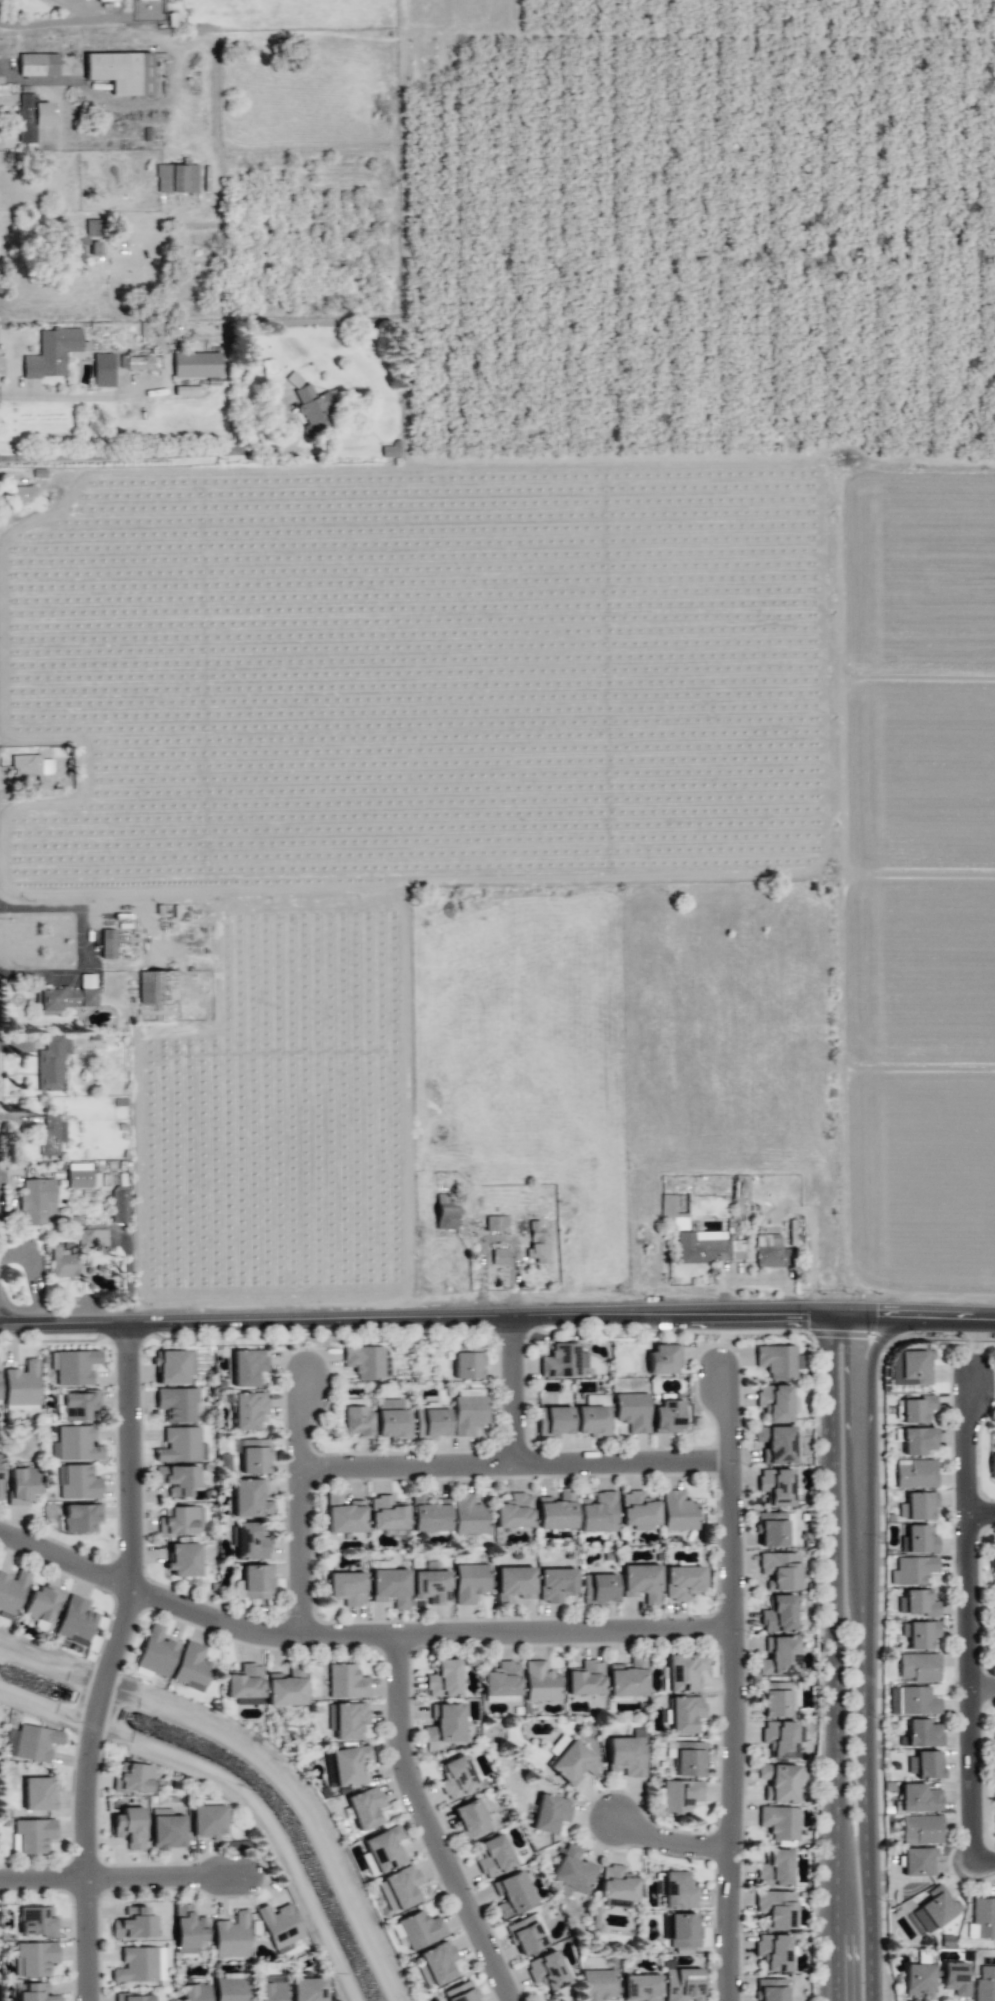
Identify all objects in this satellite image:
building: (105, 0)
road: (58, 22)
building: (37, 64)
building: (121, 71)
building: (30, 117)
building: (176, 178)
building: (81, 240)
building: (52, 352)
building: (139, 362)
building: (195, 365)
building: (102, 370)
building: (314, 408)
road: (295, 425)
building: (390, 450)
road: (118, 457)
building: (23, 493)
crop: (555, 580)
building: (33, 769)
road: (80, 942)
building: (107, 943)
building: (157, 987)
building: (65, 996)
building: (52, 1063)
building: (51, 1135)
building: (79, 1175)
building: (37, 1202)
building: (119, 1204)
building: (445, 1212)
building: (671, 1215)
building: (496, 1224)
building: (92, 1237)
building: (537, 1243)
building: (702, 1247)
building: (770, 1252)
building: (498, 1256)
building: (64, 1261)
road: (497, 1312)
road: (877, 1345)
building: (663, 1359)
building: (562, 1361)
building: (778, 1361)
building: (363, 1362)
building: (466, 1365)
building: (75, 1366)
building: (173, 1366)
building: (247, 1367)
building: (386, 1367)
building: (910, 1368)
building: (21, 1384)
road: (520, 1386)
building: (469, 1392)
building: (775, 1402)
building: (178, 1404)
building: (79, 1406)
building: (917, 1409)
building: (248, 1410)
building: (631, 1411)
road: (736, 1411)
building: (468, 1414)
building: (593, 1416)
road: (305, 1417)
building: (666, 1417)
building: (391, 1419)
building: (553, 1421)
building: (357, 1422)
building: (430, 1422)
road: (973, 1438)
building: (917, 1441)
building: (75, 1444)
building: (775, 1444)
building: (180, 1445)
building: (253, 1456)
road: (521, 1462)
building: (992, 1466)
building: (915, 1473)
building: (176, 1479)
building: (77, 1482)
building: (21, 1485)
building: (775, 1486)
building: (249, 1499)
building: (920, 1506)
building: (638, 1509)
building: (556, 1511)
building: (677, 1511)
building: (513, 1512)
building: (597, 1512)
road: (985, 1512)
building: (343, 1514)
building: (386, 1514)
building: (429, 1515)
building: (468, 1515)
building: (81, 1517)
building: (179, 1520)
building: (774, 1529)
building: (917, 1540)
building: (250, 1542)
road: (307, 1550)
building: (183, 1560)
building: (993, 1561)
building: (779, 1570)
building: (912, 1570)
building: (256, 1582)
building: (641, 1582)
building: (681, 1582)
building: (469, 1583)
building: (513, 1584)
building: (555, 1584)
building: (430, 1586)
building: (389, 1587)
building: (346, 1588)
building: (598, 1588)
building: (12, 1591)
building: (41, 1603)
building: (917, 1603)
building: (778, 1614)
building: (75, 1621)
road: (360, 1632)
building: (919, 1634)
building: (993, 1643)
building: (156, 1652)
building: (778, 1656)
road: (832, 1656)
road: (859, 1656)
road: (111, 1660)
building: (191, 1667)
building: (918, 1667)
building: (684, 1672)
building: (627, 1678)
building: (443, 1679)
building: (501, 1679)
building: (585, 1679)
building: (346, 1682)
building: (539, 1682)
building: (245, 1685)
road: (976, 1685)
building: (285, 1687)
road: (986, 1688)
building: (501, 1699)
building: (774, 1699)
building: (916, 1701)
building: (684, 1714)
building: (349, 1720)
building: (444, 1723)
road: (741, 1729)
building: (994, 1732)
building: (922, 1733)
building: (779, 1738)
building: (35, 1742)
building: (557, 1745)
building: (627, 1755)
building: (689, 1759)
building: (572, 1763)
building: (349, 1765)
building: (925, 1765)
building: (456, 1778)
building: (134, 1779)
building: (778, 1782)
building: (37, 1793)
building: (679, 1796)
building: (918, 1798)
building: (365, 1808)
building: (549, 1813)
building: (469, 1818)
building: (207, 1821)
building: (779, 1822)
road: (435, 1823)
building: (129, 1827)
building: (921, 1830)
building: (994, 1831)
building: (167, 1832)
building: (31, 1835)
road: (677, 1839)
building: (385, 1849)
building: (493, 1856)
building: (918, 1862)
road: (988, 1862)
building: (774, 1869)
building: (571, 1871)
road: (45, 1880)
road: (172, 1880)
building: (616, 1883)
building: (399, 1888)
building: (678, 1890)
building: (512, 1894)
building: (776, 1908)
building: (935, 1909)
building: (982, 1919)
building: (36, 1922)
building: (133, 1924)
building: (279, 1927)
building: (420, 1929)
building: (683, 1930)
building: (188, 1931)
building: (524, 1935)
building: (231, 1936)
building: (772, 1952)
building: (34, 1958)
building: (159, 1963)
building: (435, 1964)
building: (136, 1965)
building: (547, 1971)
building: (955, 1978)
building: (919, 1980)
building: (985, 1983)
building: (682, 1984)
building: (597, 1985)
building: (269, 1988)
building: (641, 1988)
building: (231, 1989)
building: (308, 1989)
building: (770, 1990)
building: (193, 1992)
building: (461, 1992)
building: (36, 1993)
building: (133, 1997)

